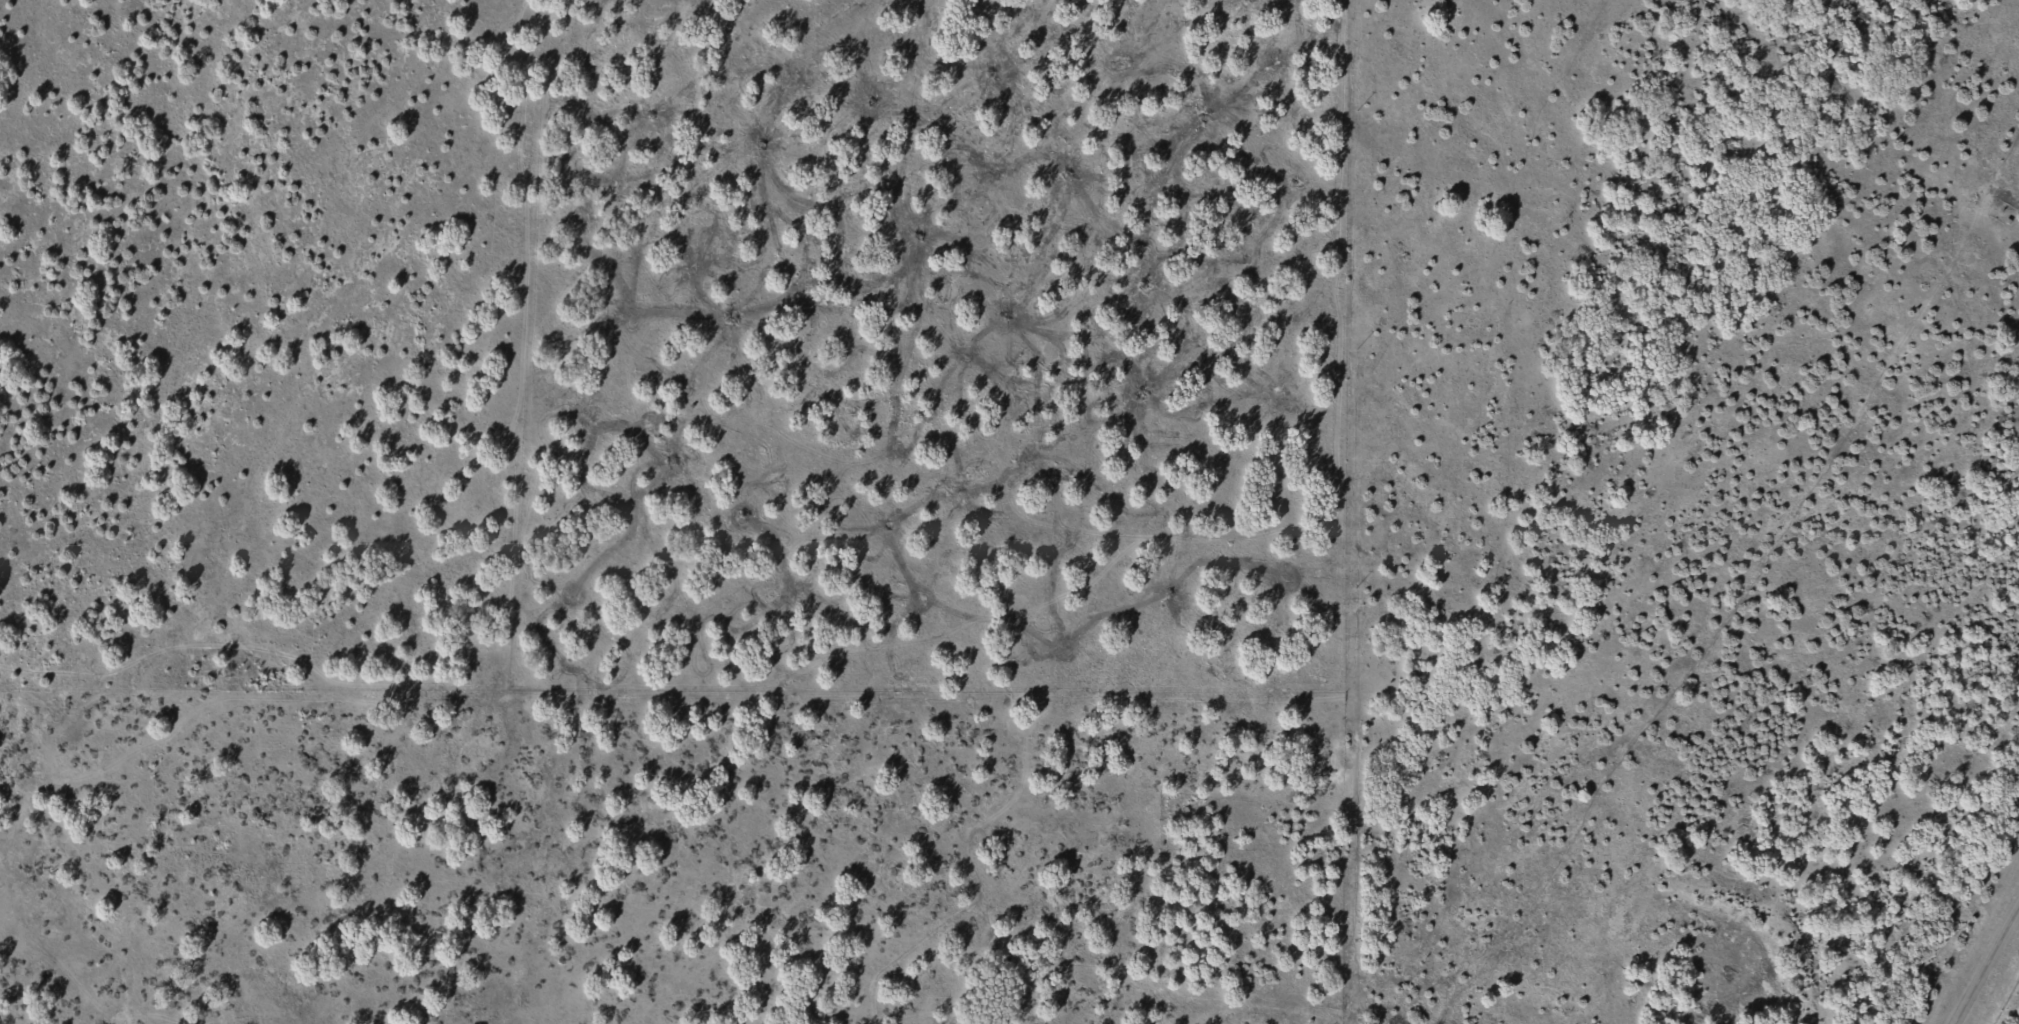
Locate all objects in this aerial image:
road: (1987, 966)

